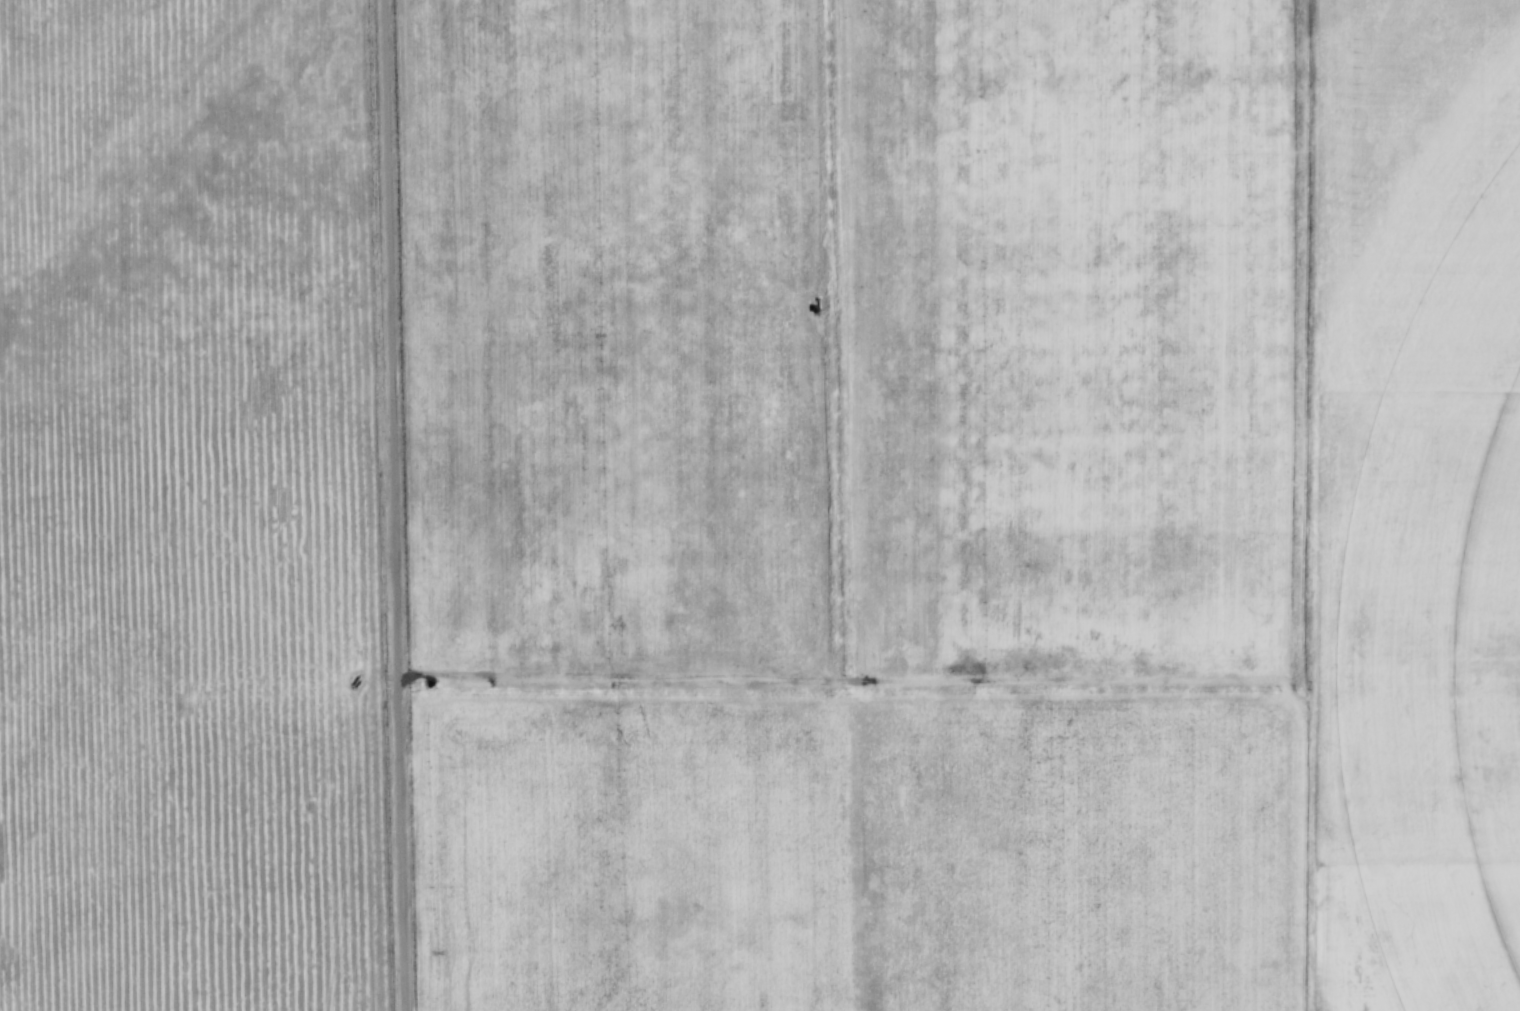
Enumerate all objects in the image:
crop: (635, 345)
crop: (1094, 345)
road: (409, 505)
crop: (201, 510)
crop: (1435, 520)
crop: (876, 852)
crop: (1426, 937)

